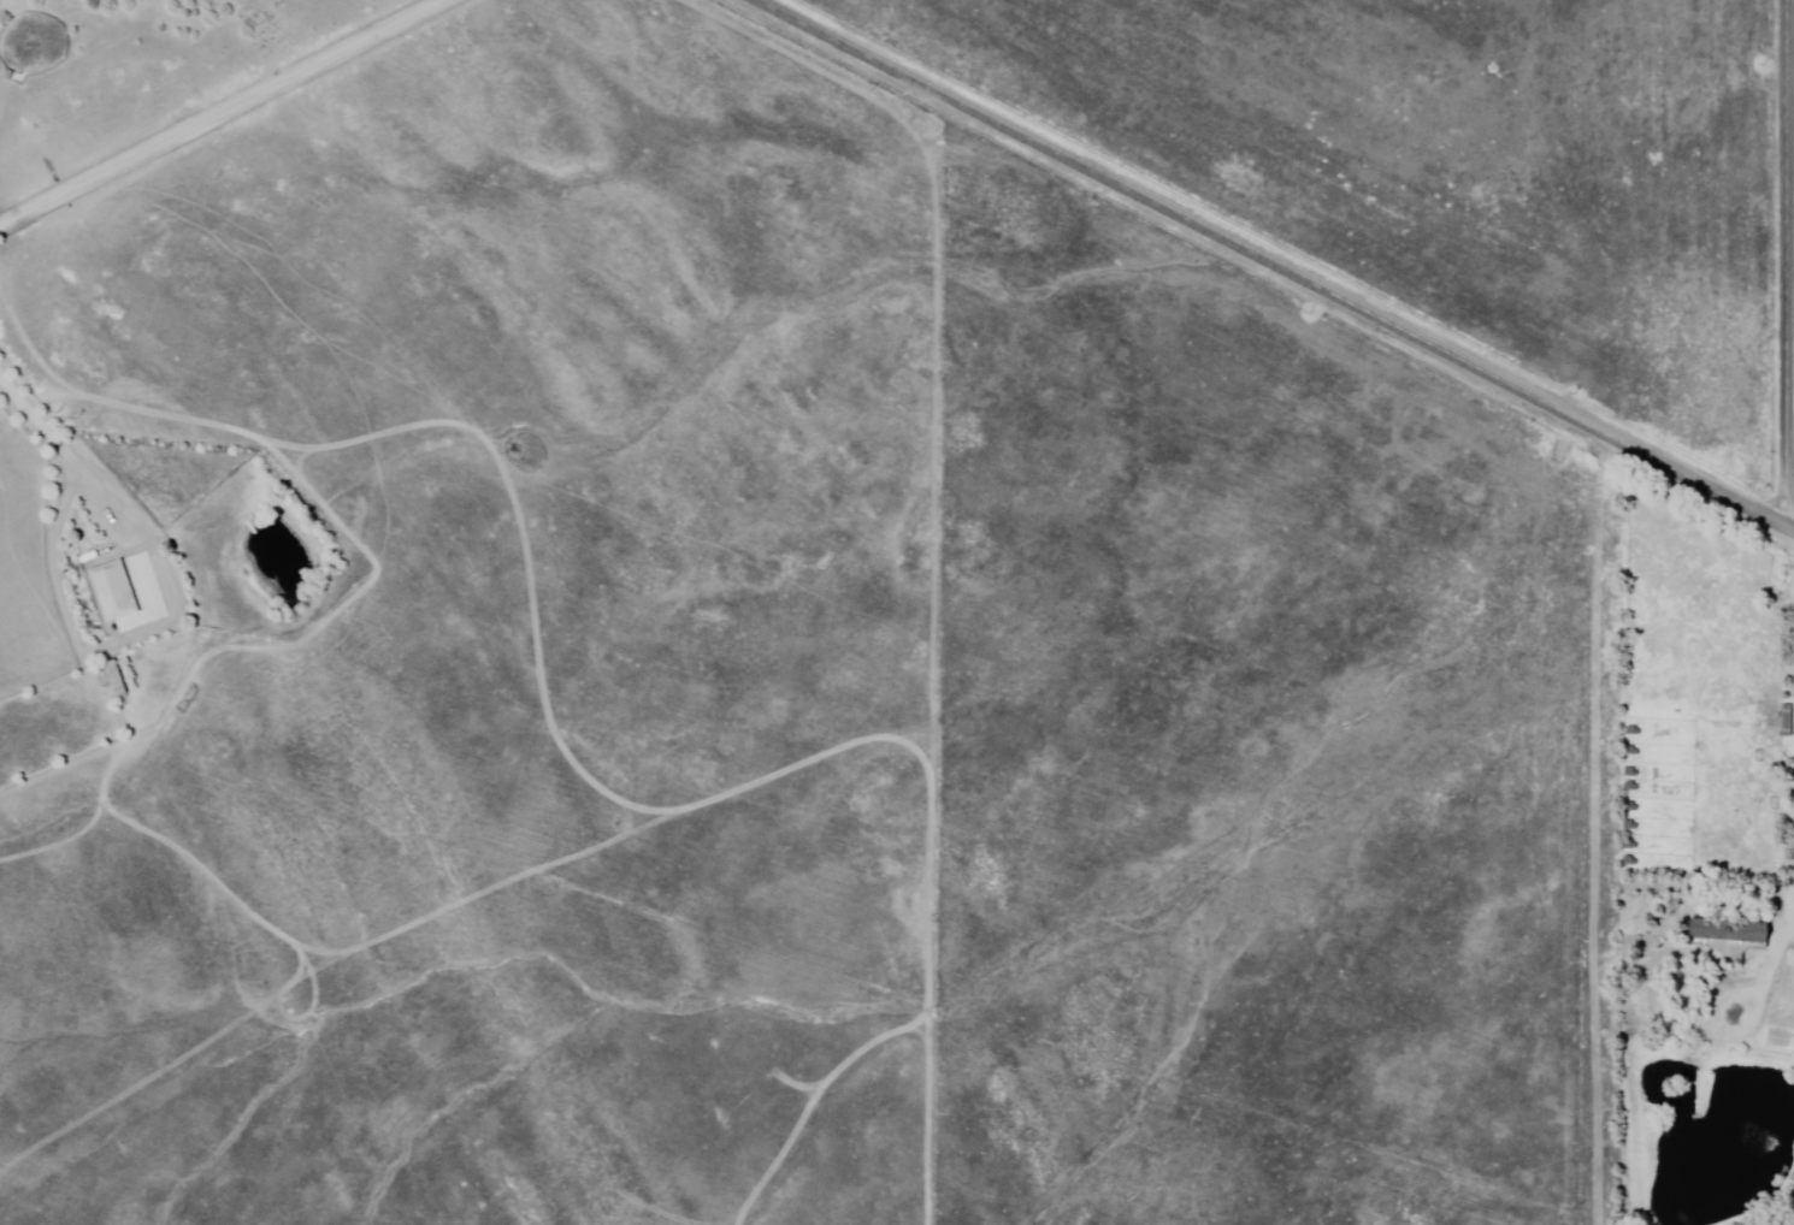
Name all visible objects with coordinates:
road: (219, 108)
road: (1788, 264)
road: (1277, 265)
road: (64, 450)
building: (116, 592)
building: (1733, 937)

